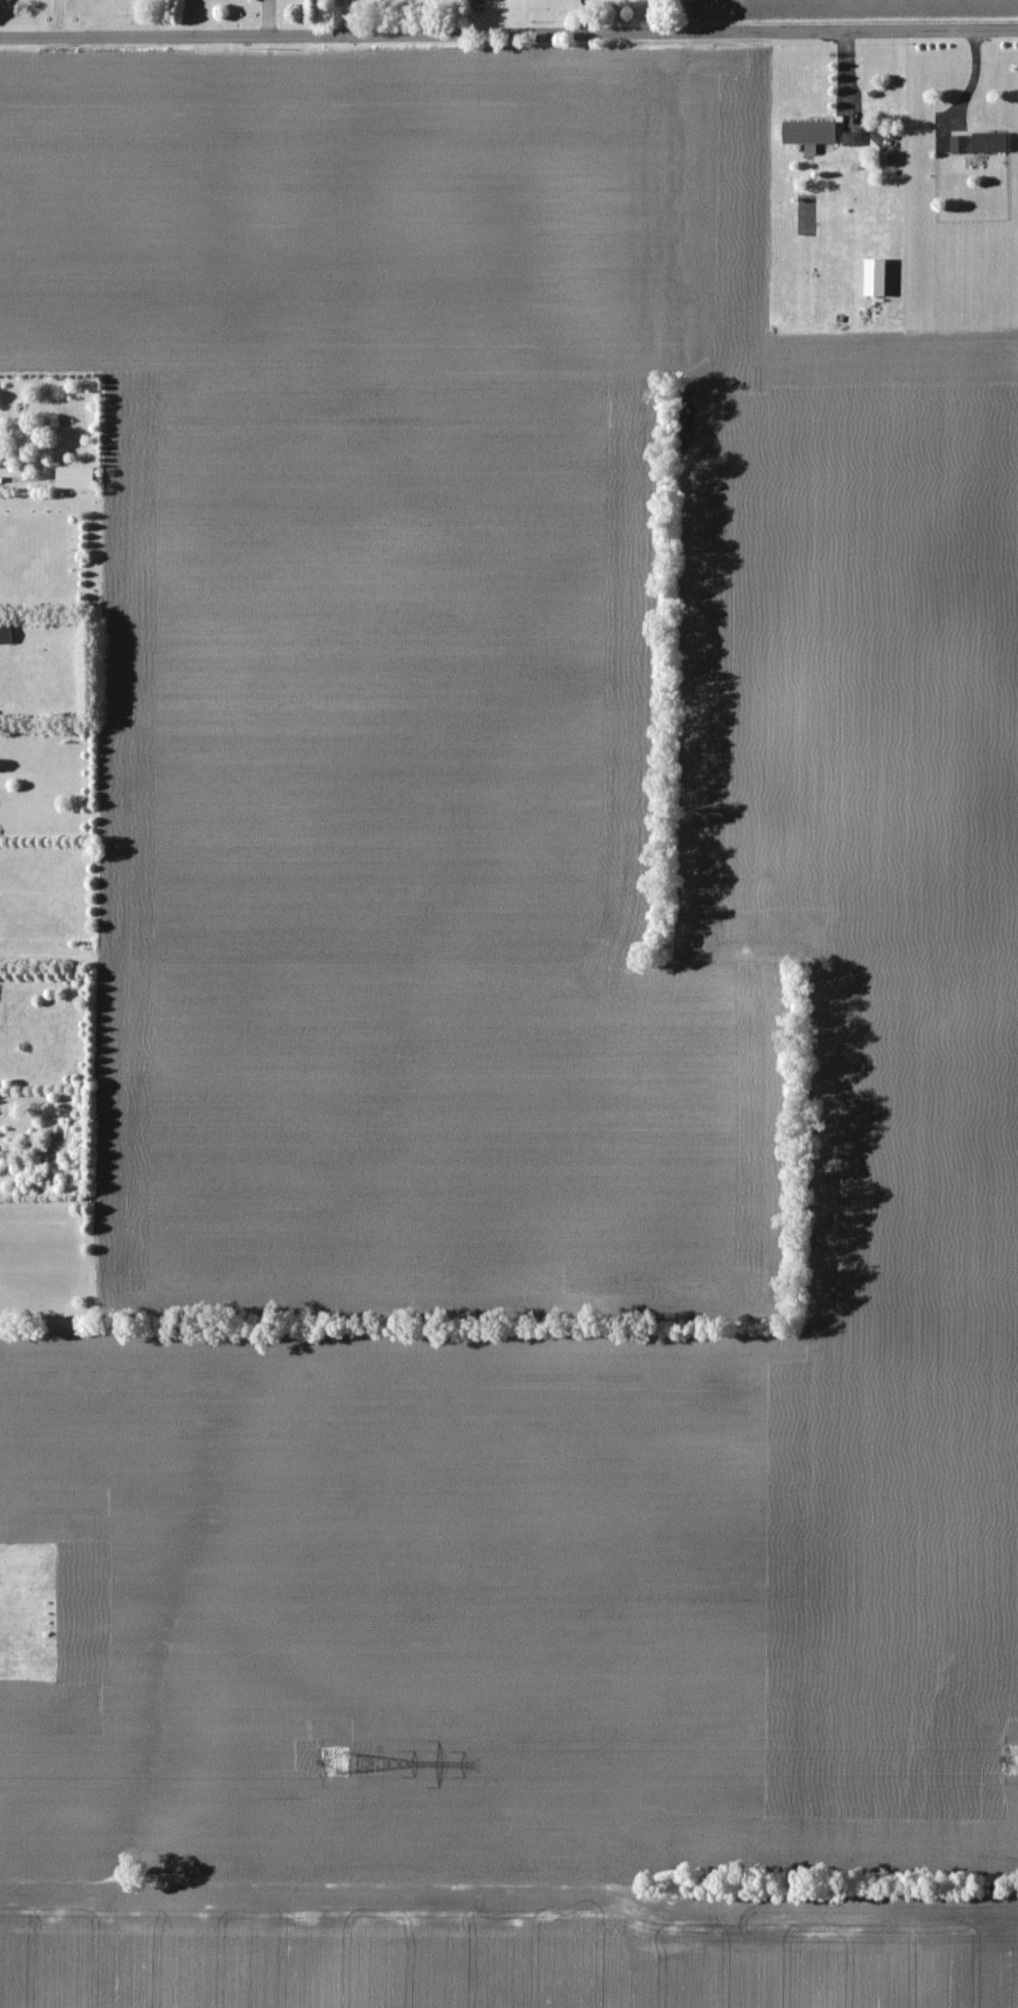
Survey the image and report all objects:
road: (61, 18)
road: (509, 32)
road: (970, 90)
building: (807, 132)
building: (976, 142)
building: (72, 478)
building: (4, 635)
power tower: (1013, 1758)
power tower: (334, 1762)

